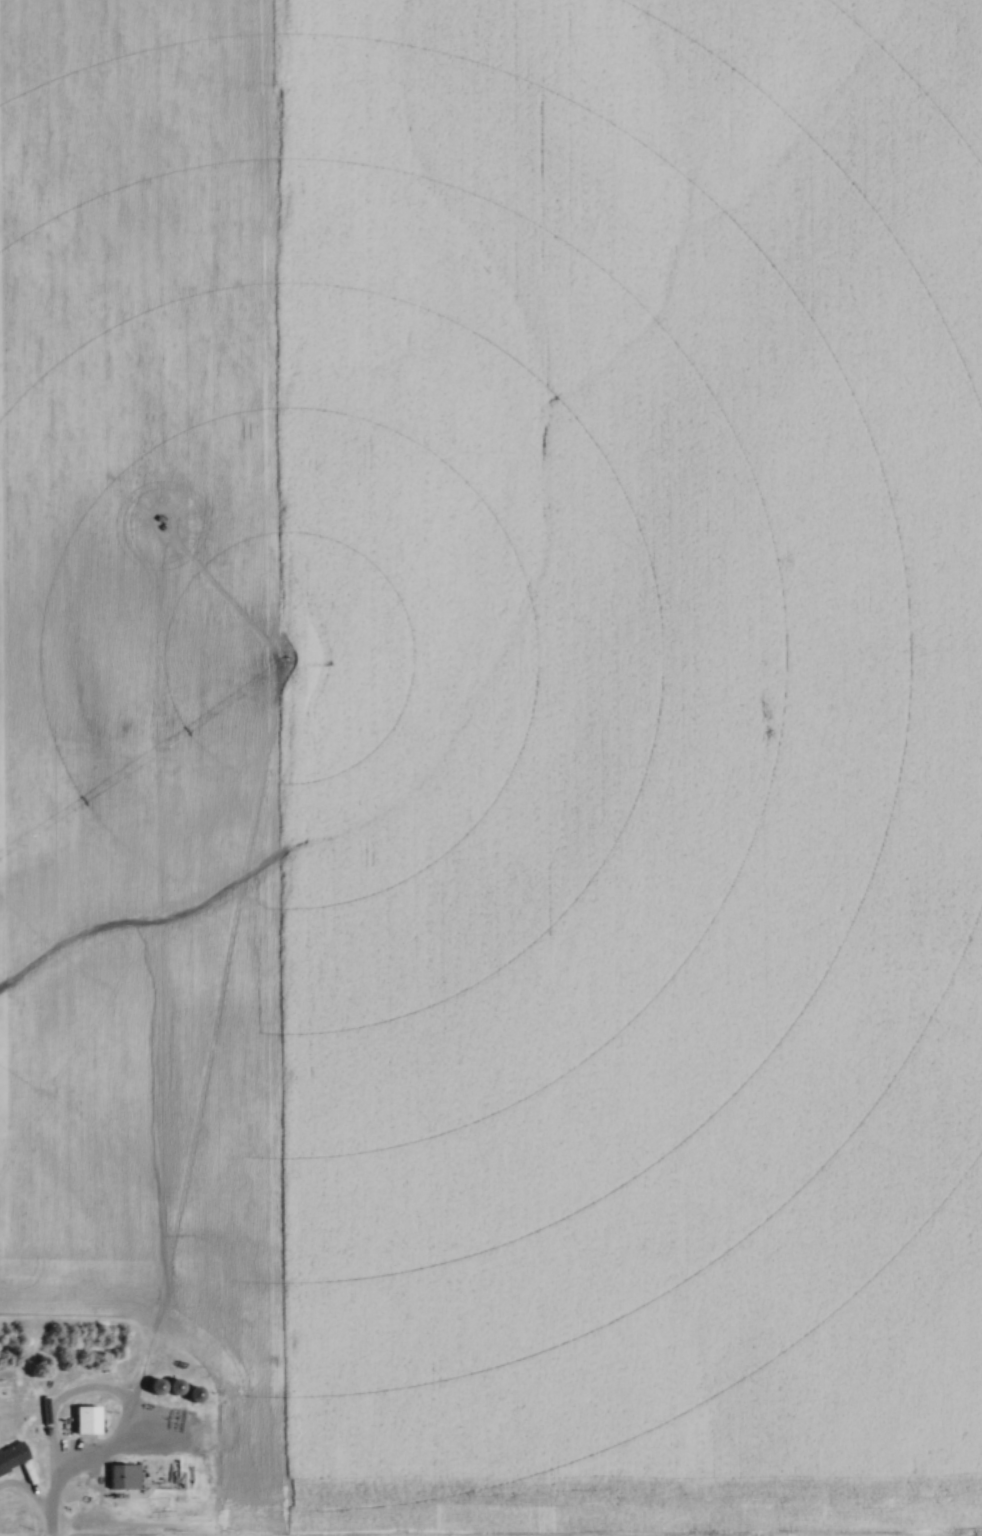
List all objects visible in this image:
building: (55, 1383)
building: (156, 1388)
building: (174, 1388)
building: (193, 1396)
building: (86, 1422)
building: (12, 1458)
building: (214, 1463)
building: (124, 1478)
road: (31, 1501)

